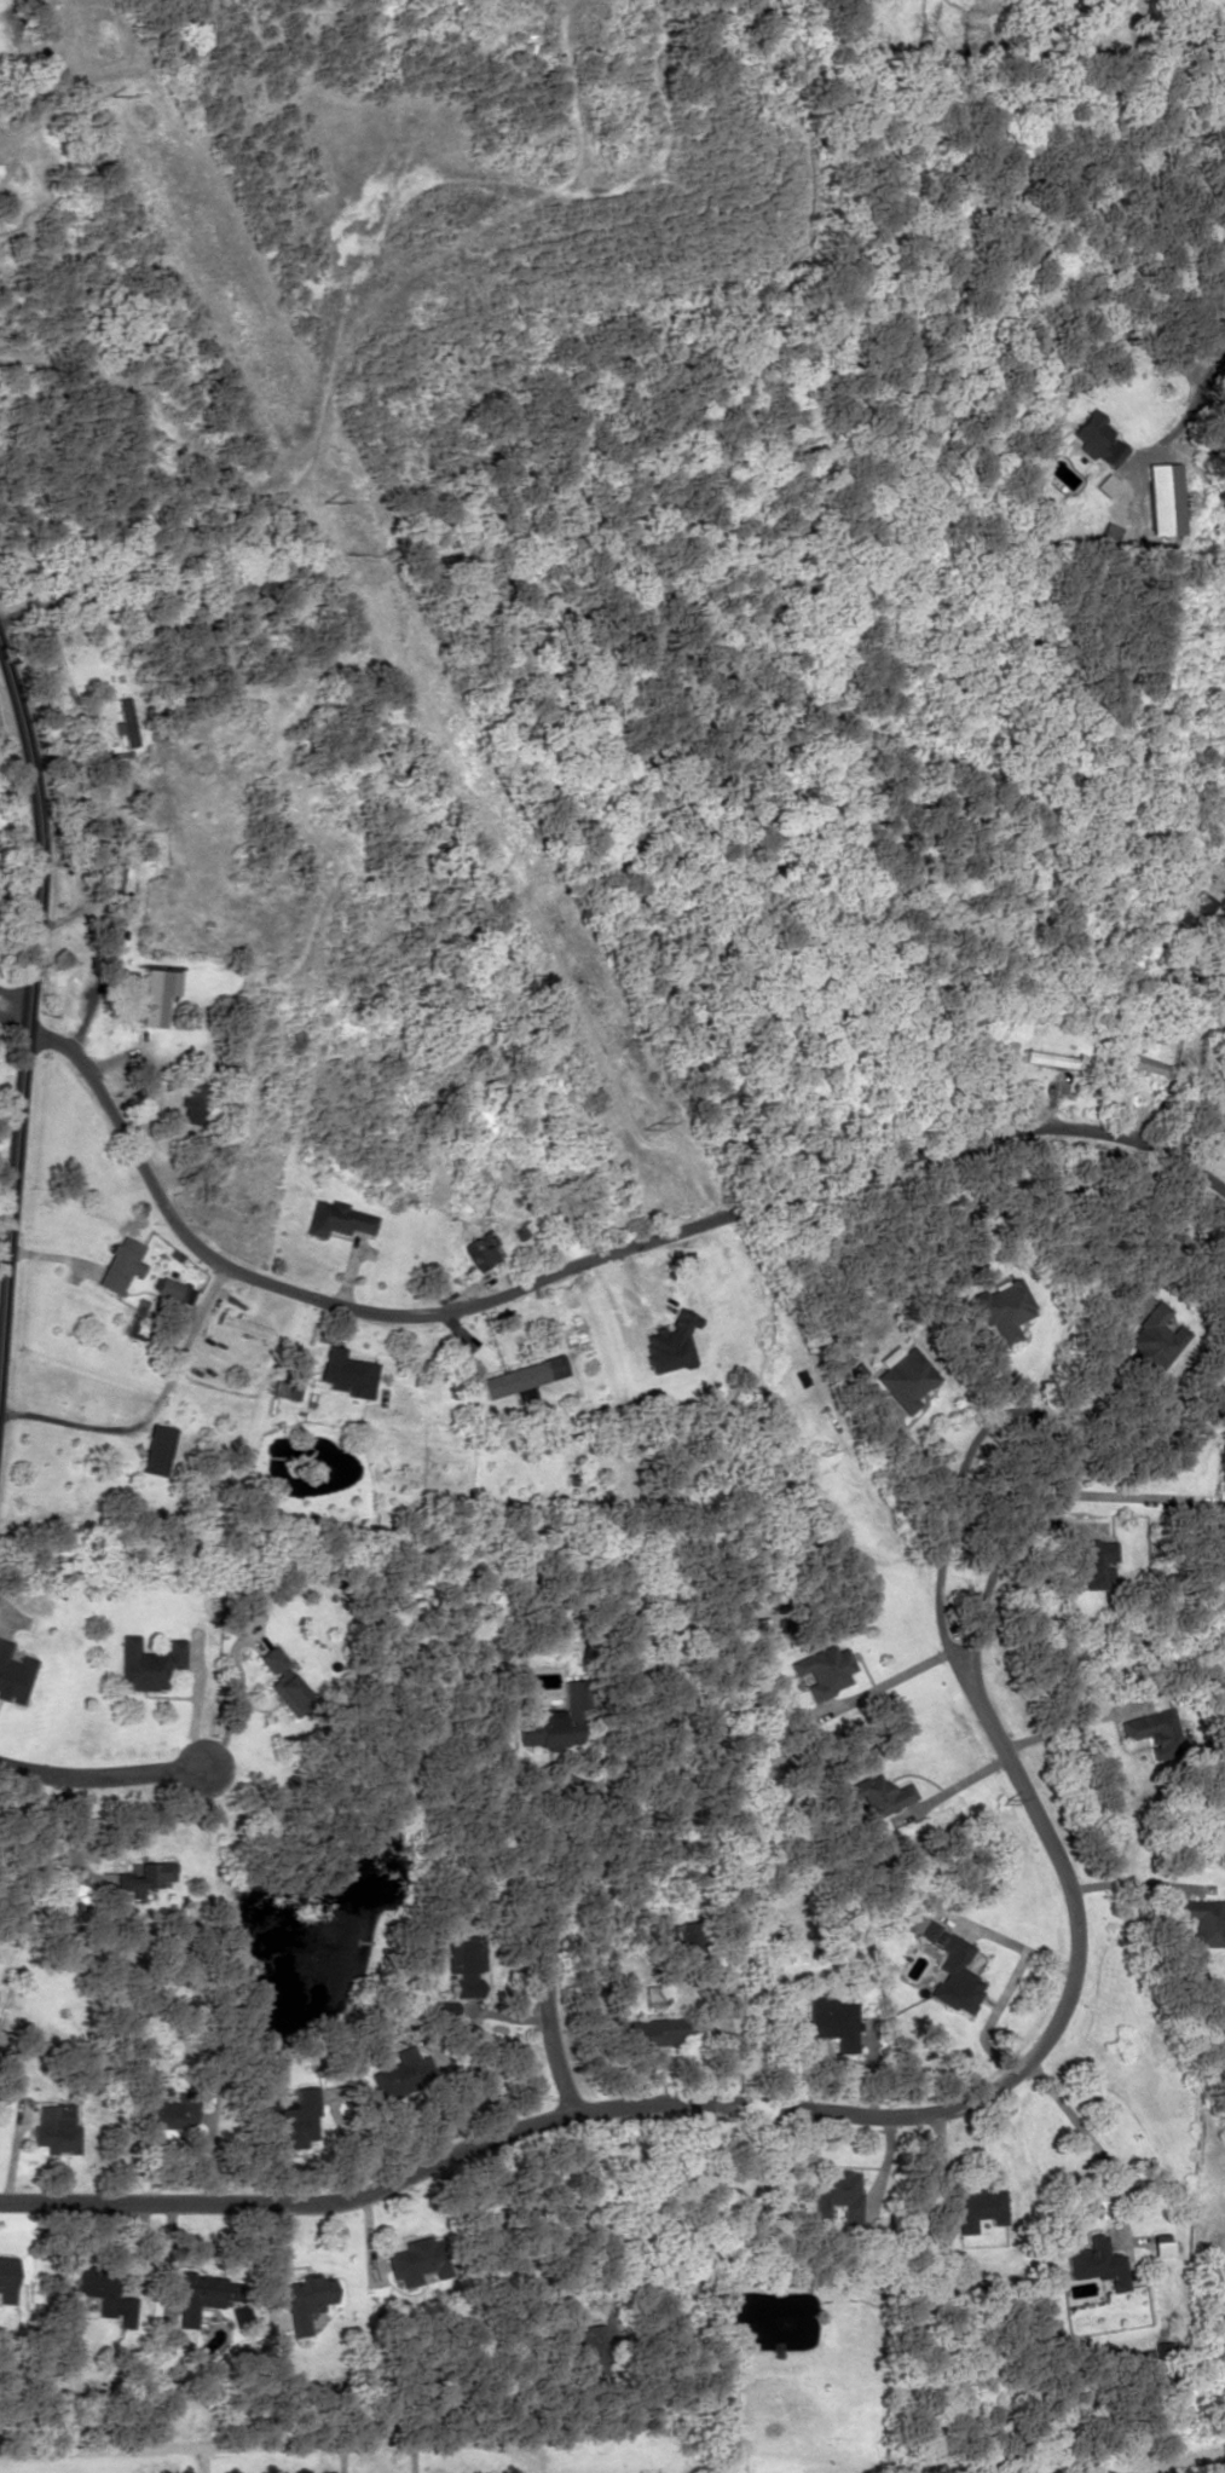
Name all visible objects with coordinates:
power tower: (114, 87)
road: (1194, 351)
building: (1096, 438)
building: (1160, 497)
power tower: (328, 507)
building: (123, 720)
building: (1197, 908)
building: (156, 995)
road: (15, 1011)
road: (29, 1040)
building: (1139, 1061)
power tower: (647, 1127)
building: (336, 1218)
building: (480, 1249)
building: (119, 1264)
road: (574, 1264)
building: (173, 1289)
building: (1002, 1307)
building: (137, 1318)
building: (1155, 1337)
building: (670, 1344)
building: (347, 1371)
building: (522, 1375)
building: (902, 1375)
building: (156, 1449)
building: (1221, 1463)
building: (1092, 1560)
building: (149, 1663)
building: (822, 1670)
building: (13, 1674)
building: (285, 1681)
building: (556, 1720)
building: (1151, 1728)
road: (100, 1773)
building: (878, 1793)
power tower: (1000, 1803)
building: (145, 1876)
building: (58, 1912)
building: (1203, 1919)
building: (464, 1966)
building: (948, 1966)
road: (547, 2010)
building: (833, 2021)
building: (654, 2030)
building: (399, 2068)
road: (733, 2104)
building: (294, 2117)
building: (54, 2130)
building: (834, 2197)
building: (977, 2207)
building: (411, 2259)
building: (1098, 2261)
building: (105, 2293)
building: (197, 2294)
building: (305, 2299)
building: (589, 2345)
building: (727, 2409)

